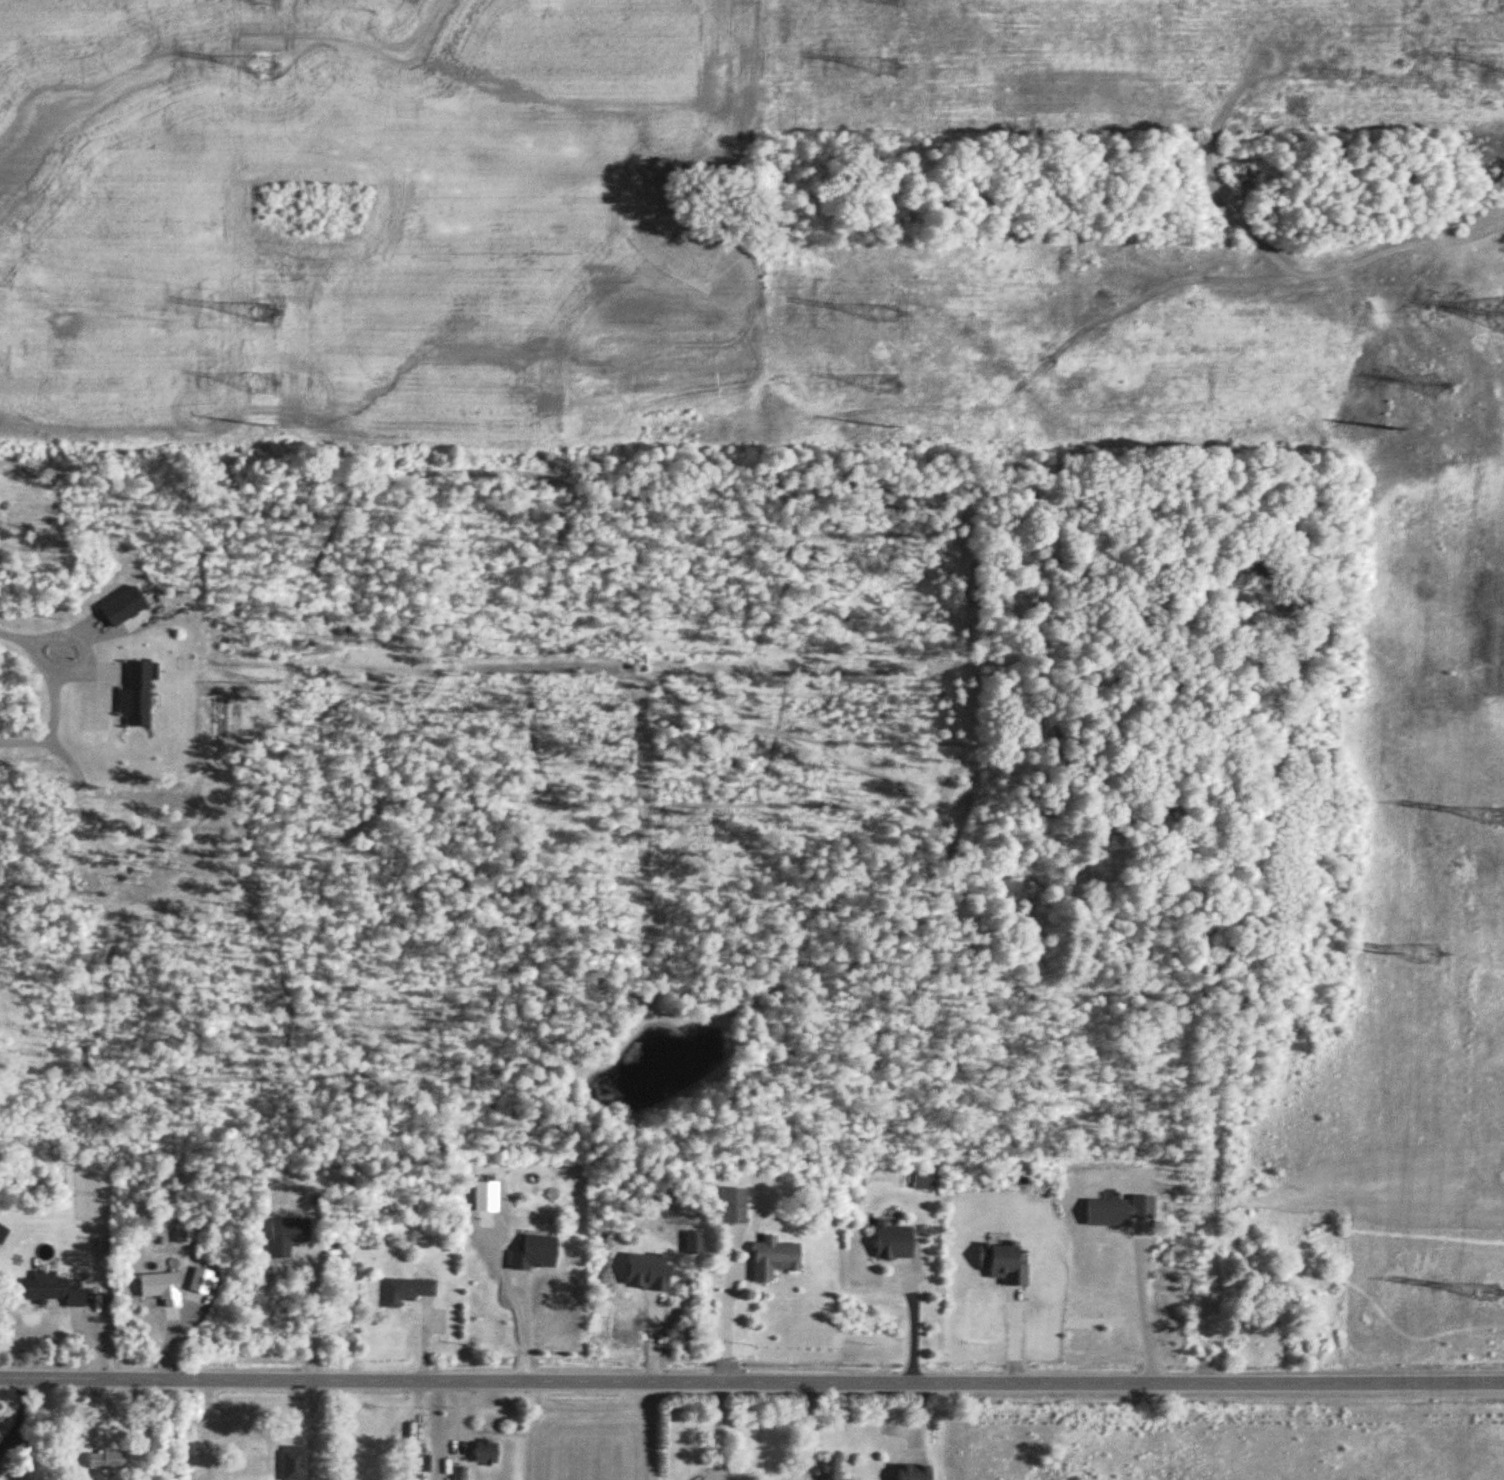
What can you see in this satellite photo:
power tower: (262, 66)
power tower: (893, 69)
power tower: (264, 314)
power tower: (888, 316)
power tower: (265, 382)
power tower: (888, 386)
power tower: (1435, 387)
power tower: (265, 427)
power tower: (889, 428)
power tower: (1390, 429)
road: (49, 692)
power tower: (1495, 819)
power tower: (1385, 954)
power tower: (1429, 954)
building: (733, 1206)
building: (1118, 1211)
building: (286, 1236)
building: (893, 1242)
building: (535, 1254)
building: (773, 1259)
building: (1008, 1265)
building: (161, 1288)
building: (51, 1290)
building: (407, 1292)
road: (517, 1295)
power tower: (1487, 1297)
road: (1139, 1311)
road: (310, 1320)
road: (909, 1321)
road: (723, 1327)
road: (751, 1382)
road: (16, 1412)
crop: (591, 1436)
crop: (1218, 1438)
building: (486, 1452)
building: (106, 1461)
building: (421, 1462)
building: (292, 1463)
building: (830, 1469)
building: (913, 1472)
building: (460, 1473)

